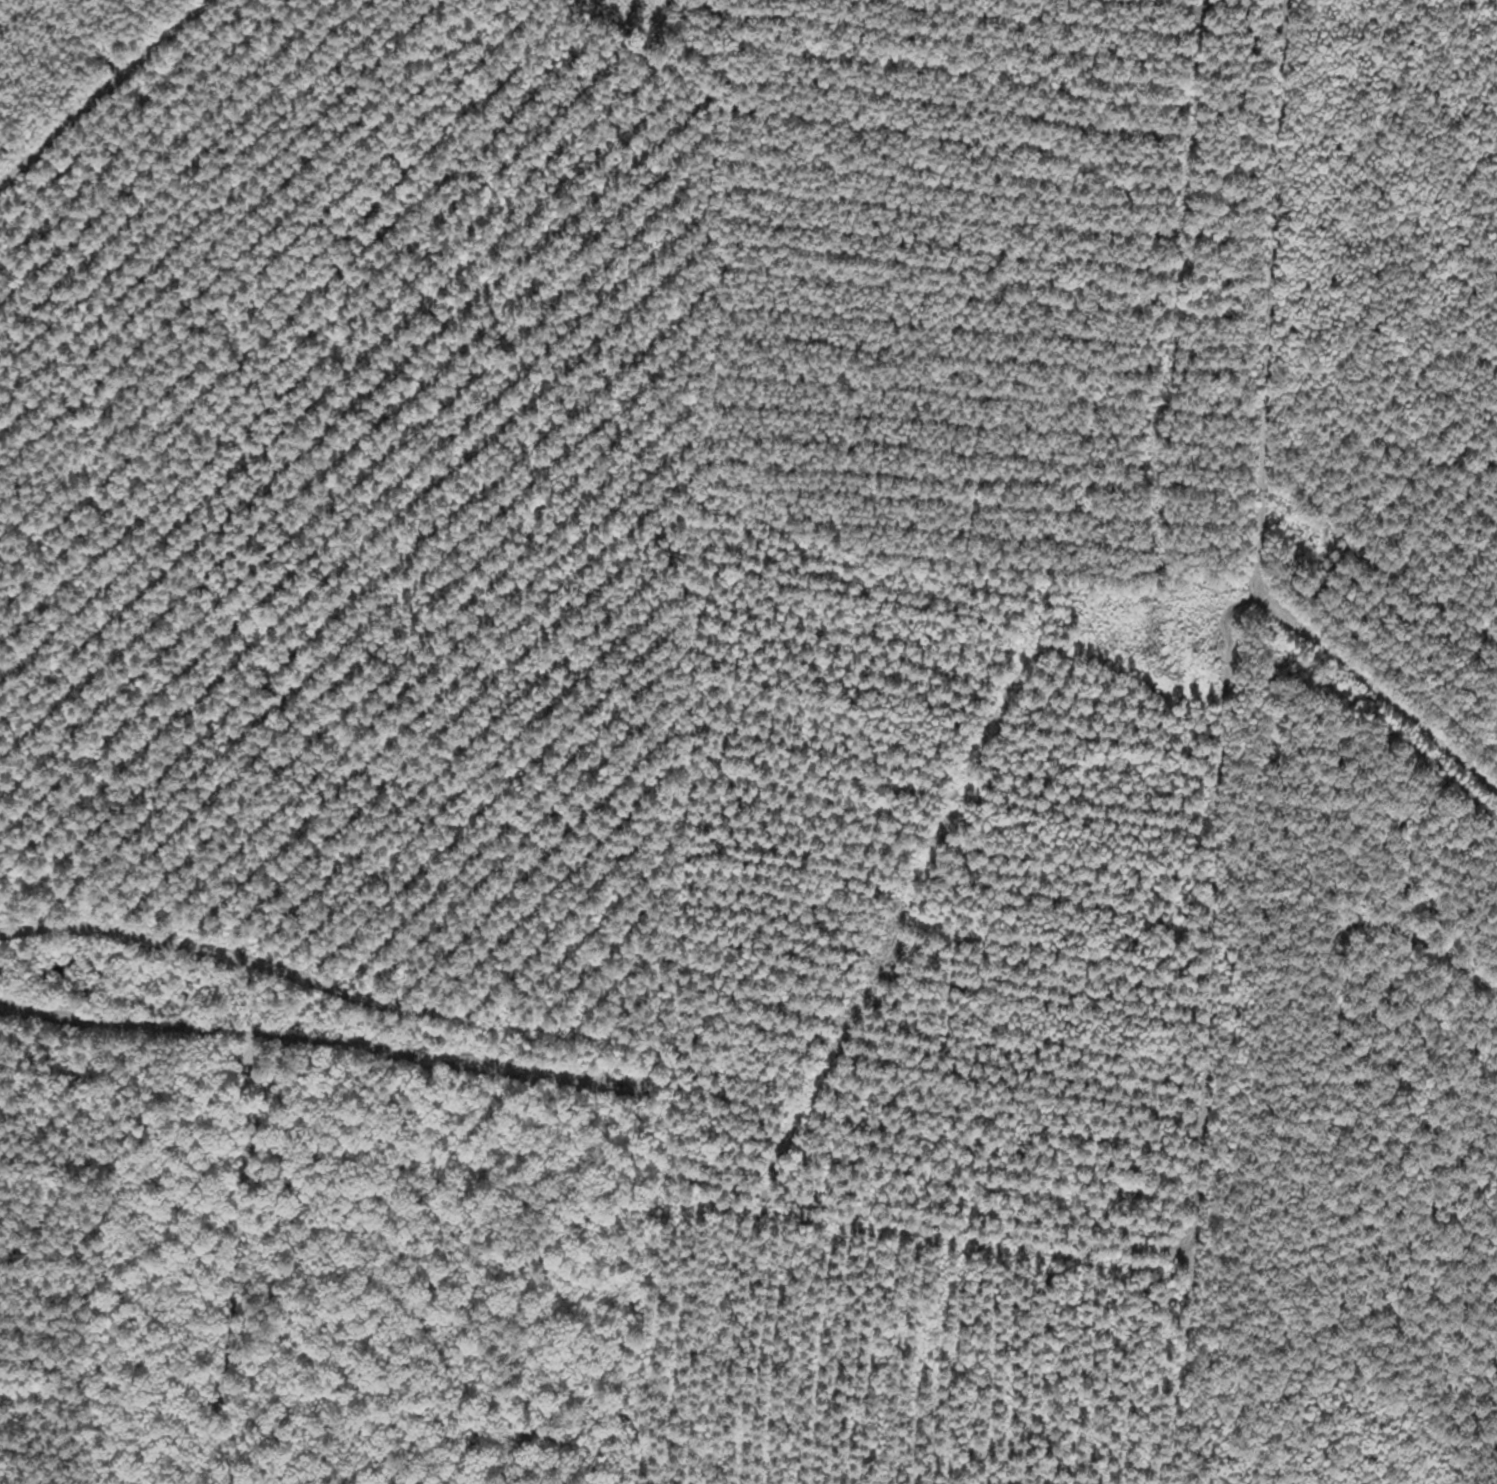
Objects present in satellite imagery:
road: (145, 141)
road: (1263, 450)

